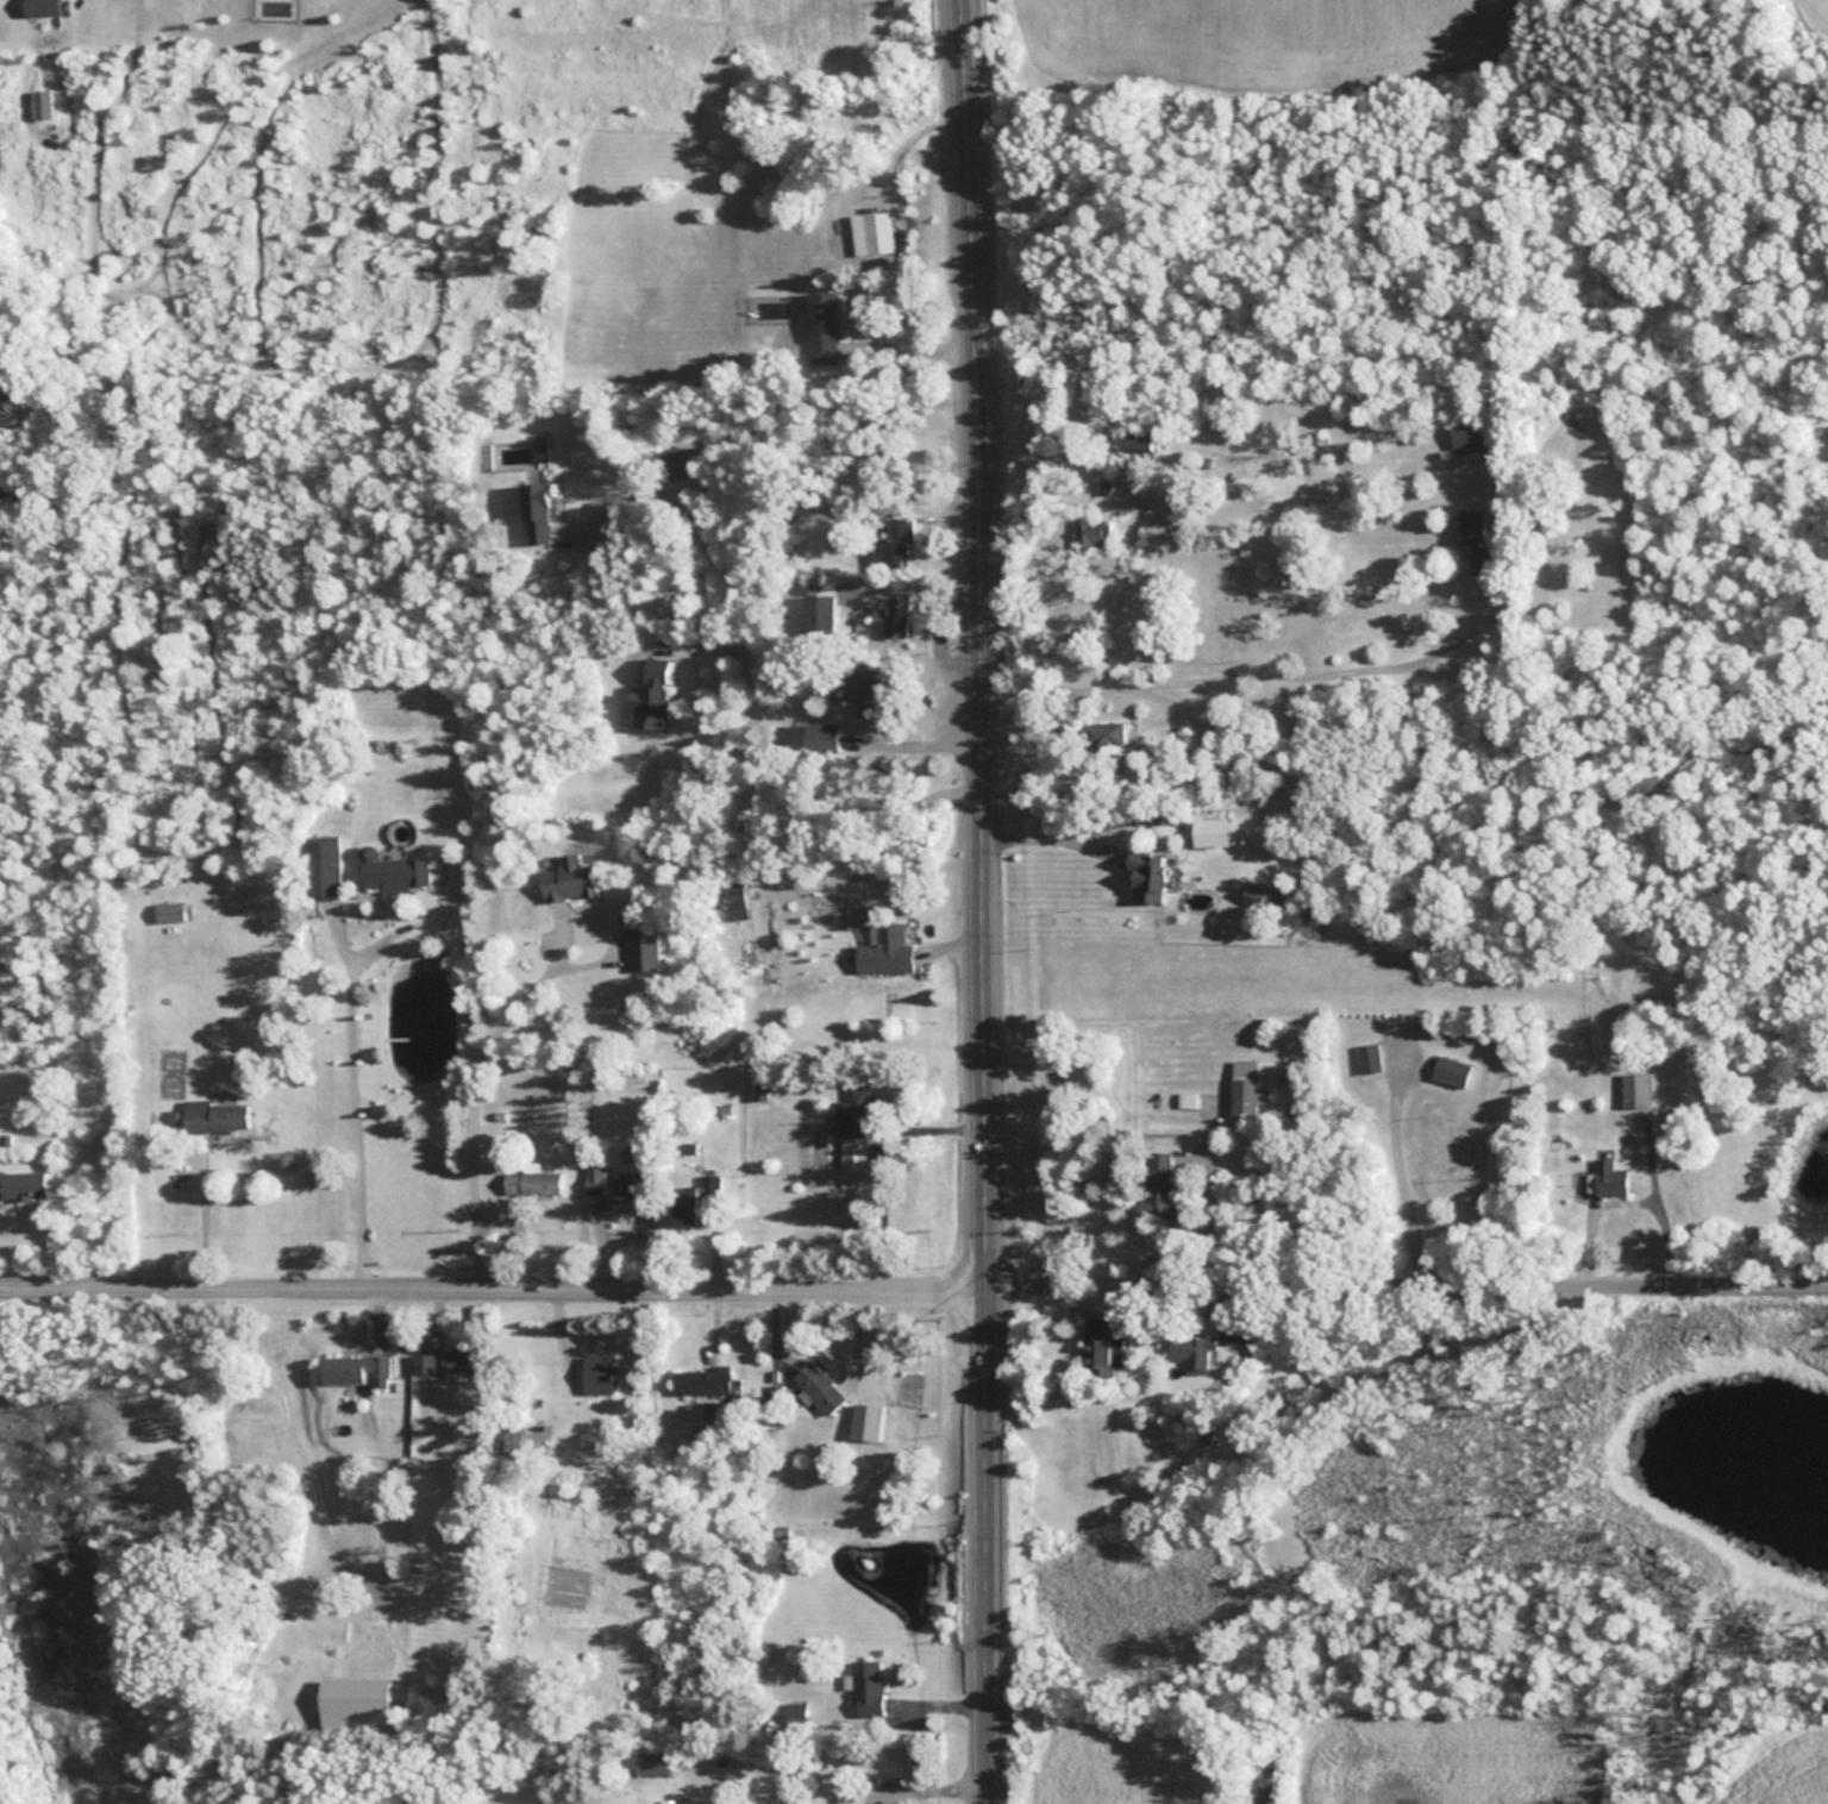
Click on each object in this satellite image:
building: (39, 7)
building: (42, 102)
building: (872, 231)
building: (824, 325)
building: (1467, 436)
building: (1132, 441)
building: (683, 462)
building: (538, 509)
building: (1091, 532)
building: (1475, 537)
building: (895, 540)
road: (916, 584)
building: (820, 610)
building: (896, 615)
road: (938, 652)
road: (1233, 674)
building: (869, 688)
building: (653, 693)
building: (1102, 734)
building: (821, 737)
road: (920, 744)
building: (321, 867)
building: (396, 873)
building: (1145, 876)
building: (568, 878)
road: (985, 901)
building: (169, 912)
building: (885, 948)
building: (644, 950)
building: (1367, 1057)
building: (1450, 1070)
building: (1251, 1088)
building: (1634, 1090)
building: (1187, 1100)
road: (465, 1104)
building: (215, 1115)
road: (346, 1122)
building: (853, 1128)
building: (594, 1178)
building: (1158, 1178)
building: (1608, 1178)
building: (533, 1182)
building: (625, 1182)
building: (23, 1183)
building: (683, 1209)
road: (914, 1286)
building: (1096, 1335)
building: (1191, 1353)
building: (446, 1363)
building: (353, 1370)
building: (599, 1374)
building: (818, 1388)
building: (705, 1390)
building: (512, 1437)
building: (865, 1689)
building: (653, 1764)

